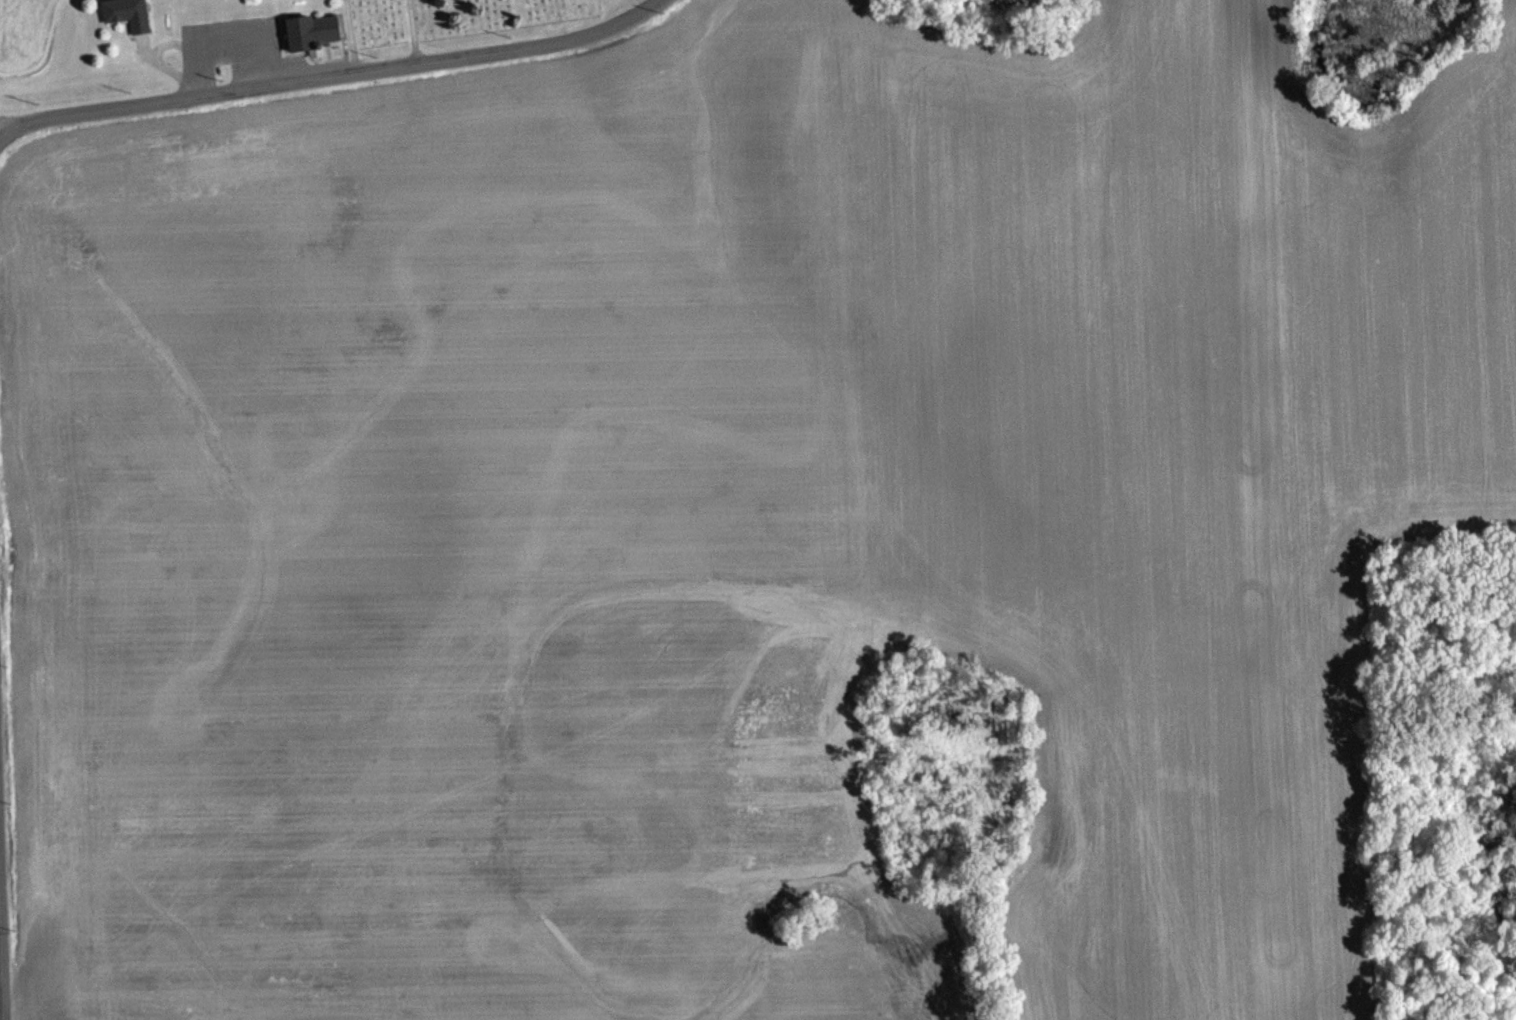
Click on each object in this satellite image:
building: (128, 14)
park: (458, 22)
building: (313, 33)
road: (223, 42)
road: (333, 75)
road: (0, 994)

